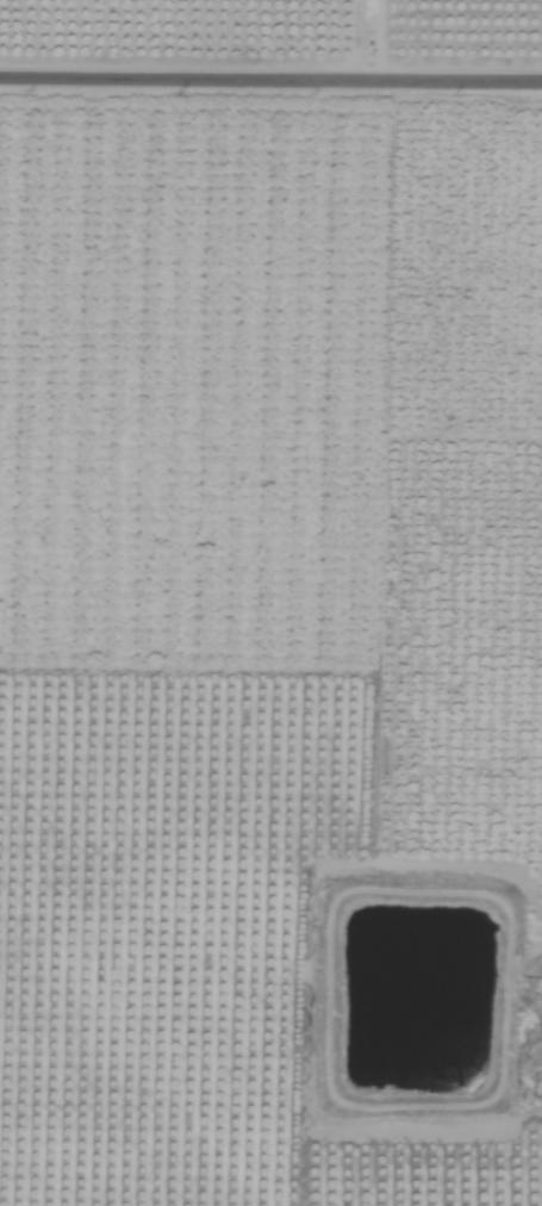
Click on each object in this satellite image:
road: (369, 38)
road: (270, 76)
crop: (270, 603)

